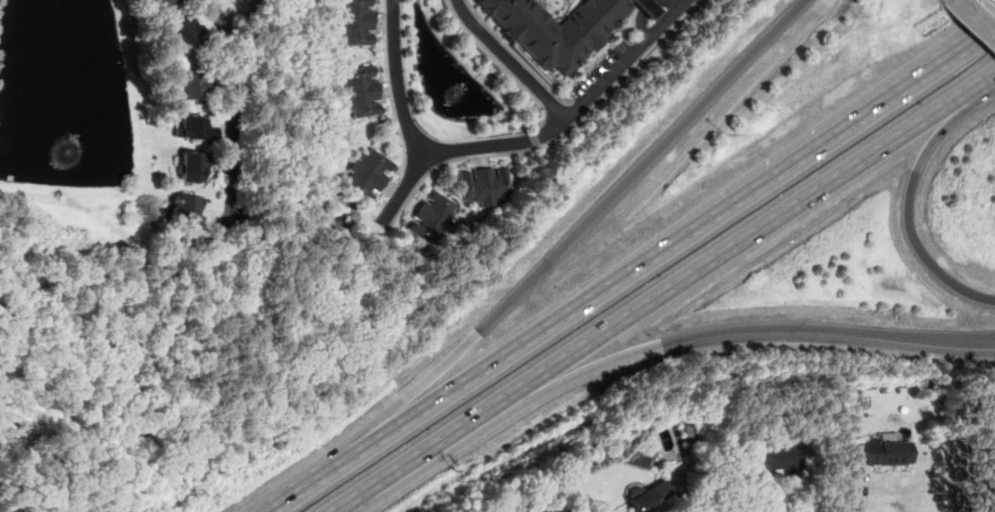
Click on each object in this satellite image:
building: (162, 4)
road: (645, 8)
road: (983, 11)
building: (356, 22)
road: (970, 25)
building: (560, 28)
building: (182, 31)
road: (512, 49)
road: (605, 50)
road: (492, 57)
road: (509, 60)
building: (190, 82)
road: (984, 82)
building: (359, 91)
road: (233, 104)
road: (393, 113)
building: (191, 128)
road: (942, 128)
road: (503, 145)
road: (465, 157)
road: (640, 165)
building: (190, 166)
road: (780, 172)
building: (366, 174)
building: (482, 185)
road: (402, 187)
building: (183, 209)
building: (429, 215)
road: (747, 235)
road: (926, 252)
road: (827, 328)
road: (593, 366)
road: (465, 380)
road: (419, 387)
road: (427, 448)
building: (882, 454)
building: (776, 459)
road: (315, 479)
building: (647, 496)

